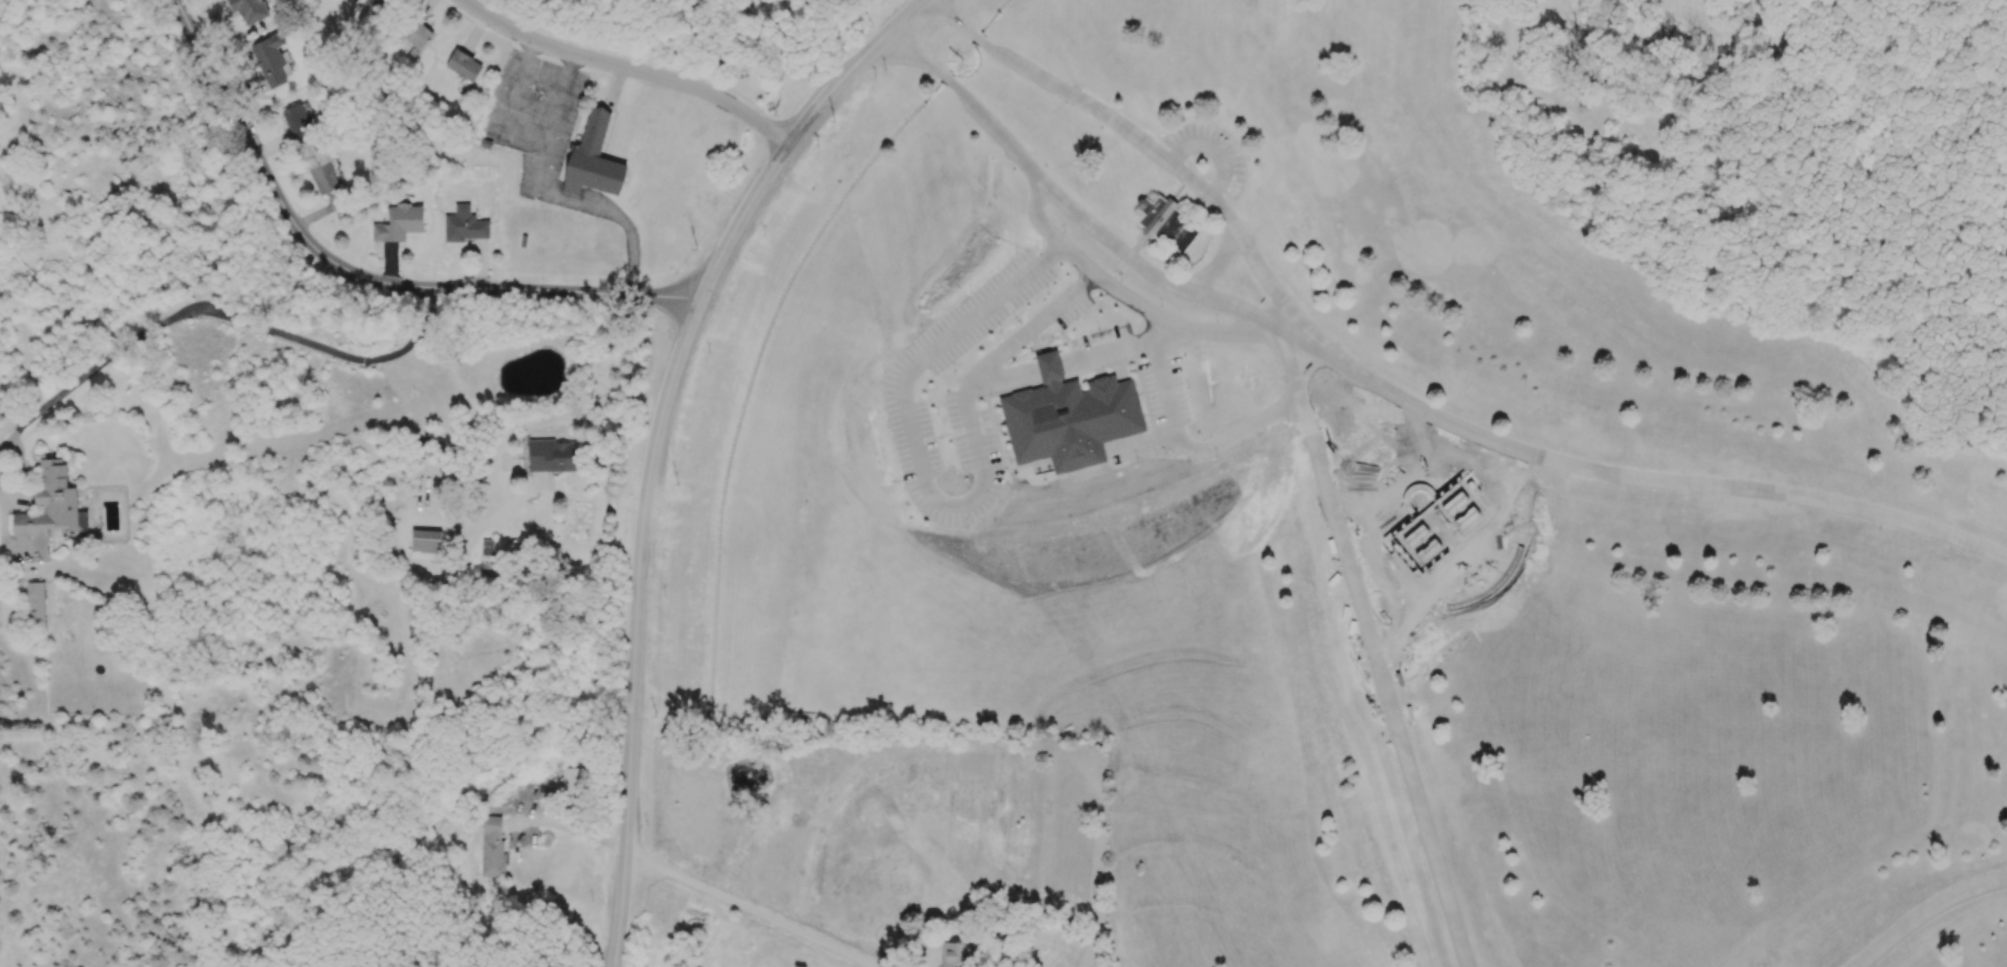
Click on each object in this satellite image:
building: (372, 2)
building: (249, 9)
building: (415, 33)
building: (270, 59)
building: (463, 65)
road: (625, 67)
road: (508, 108)
parking lot: (535, 115)
building: (298, 124)
road: (242, 128)
road: (1136, 141)
road: (1212, 151)
parking lot: (1209, 152)
building: (593, 159)
building: (323, 175)
road: (551, 193)
road: (1071, 203)
building: (399, 223)
building: (1167, 224)
building: (464, 225)
road: (505, 287)
road: (209, 310)
road: (1180, 326)
road: (1123, 348)
road: (1048, 365)
parking lot: (1015, 369)
road: (999, 382)
building: (1071, 421)
road: (656, 441)
road: (1194, 446)
building: (551, 456)
park: (1404, 463)
road: (921, 477)
road: (1634, 477)
road: (592, 497)
building: (51, 504)
building: (425, 544)
building: (487, 547)
building: (36, 602)
road: (1375, 647)
building: (573, 784)
building: (492, 846)
road: (755, 909)
road: (1925, 913)
building: (955, 954)

